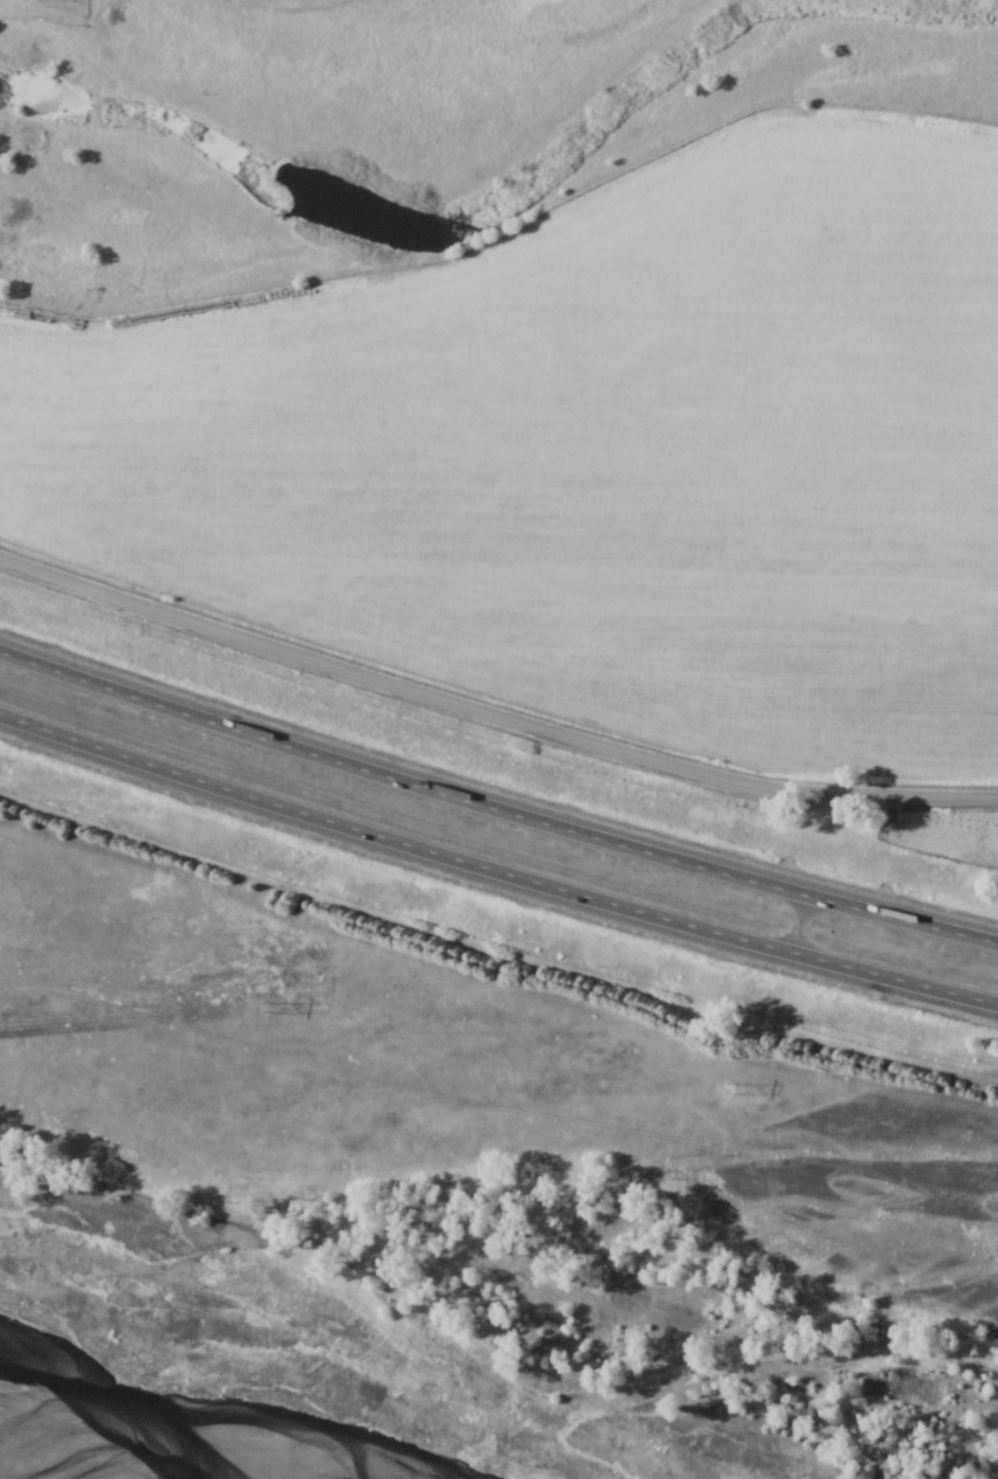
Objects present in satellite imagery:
road: (492, 716)
building: (144, 771)
road: (495, 808)
road: (495, 870)
road: (797, 923)
power tower: (264, 1009)
power tower: (728, 1089)

